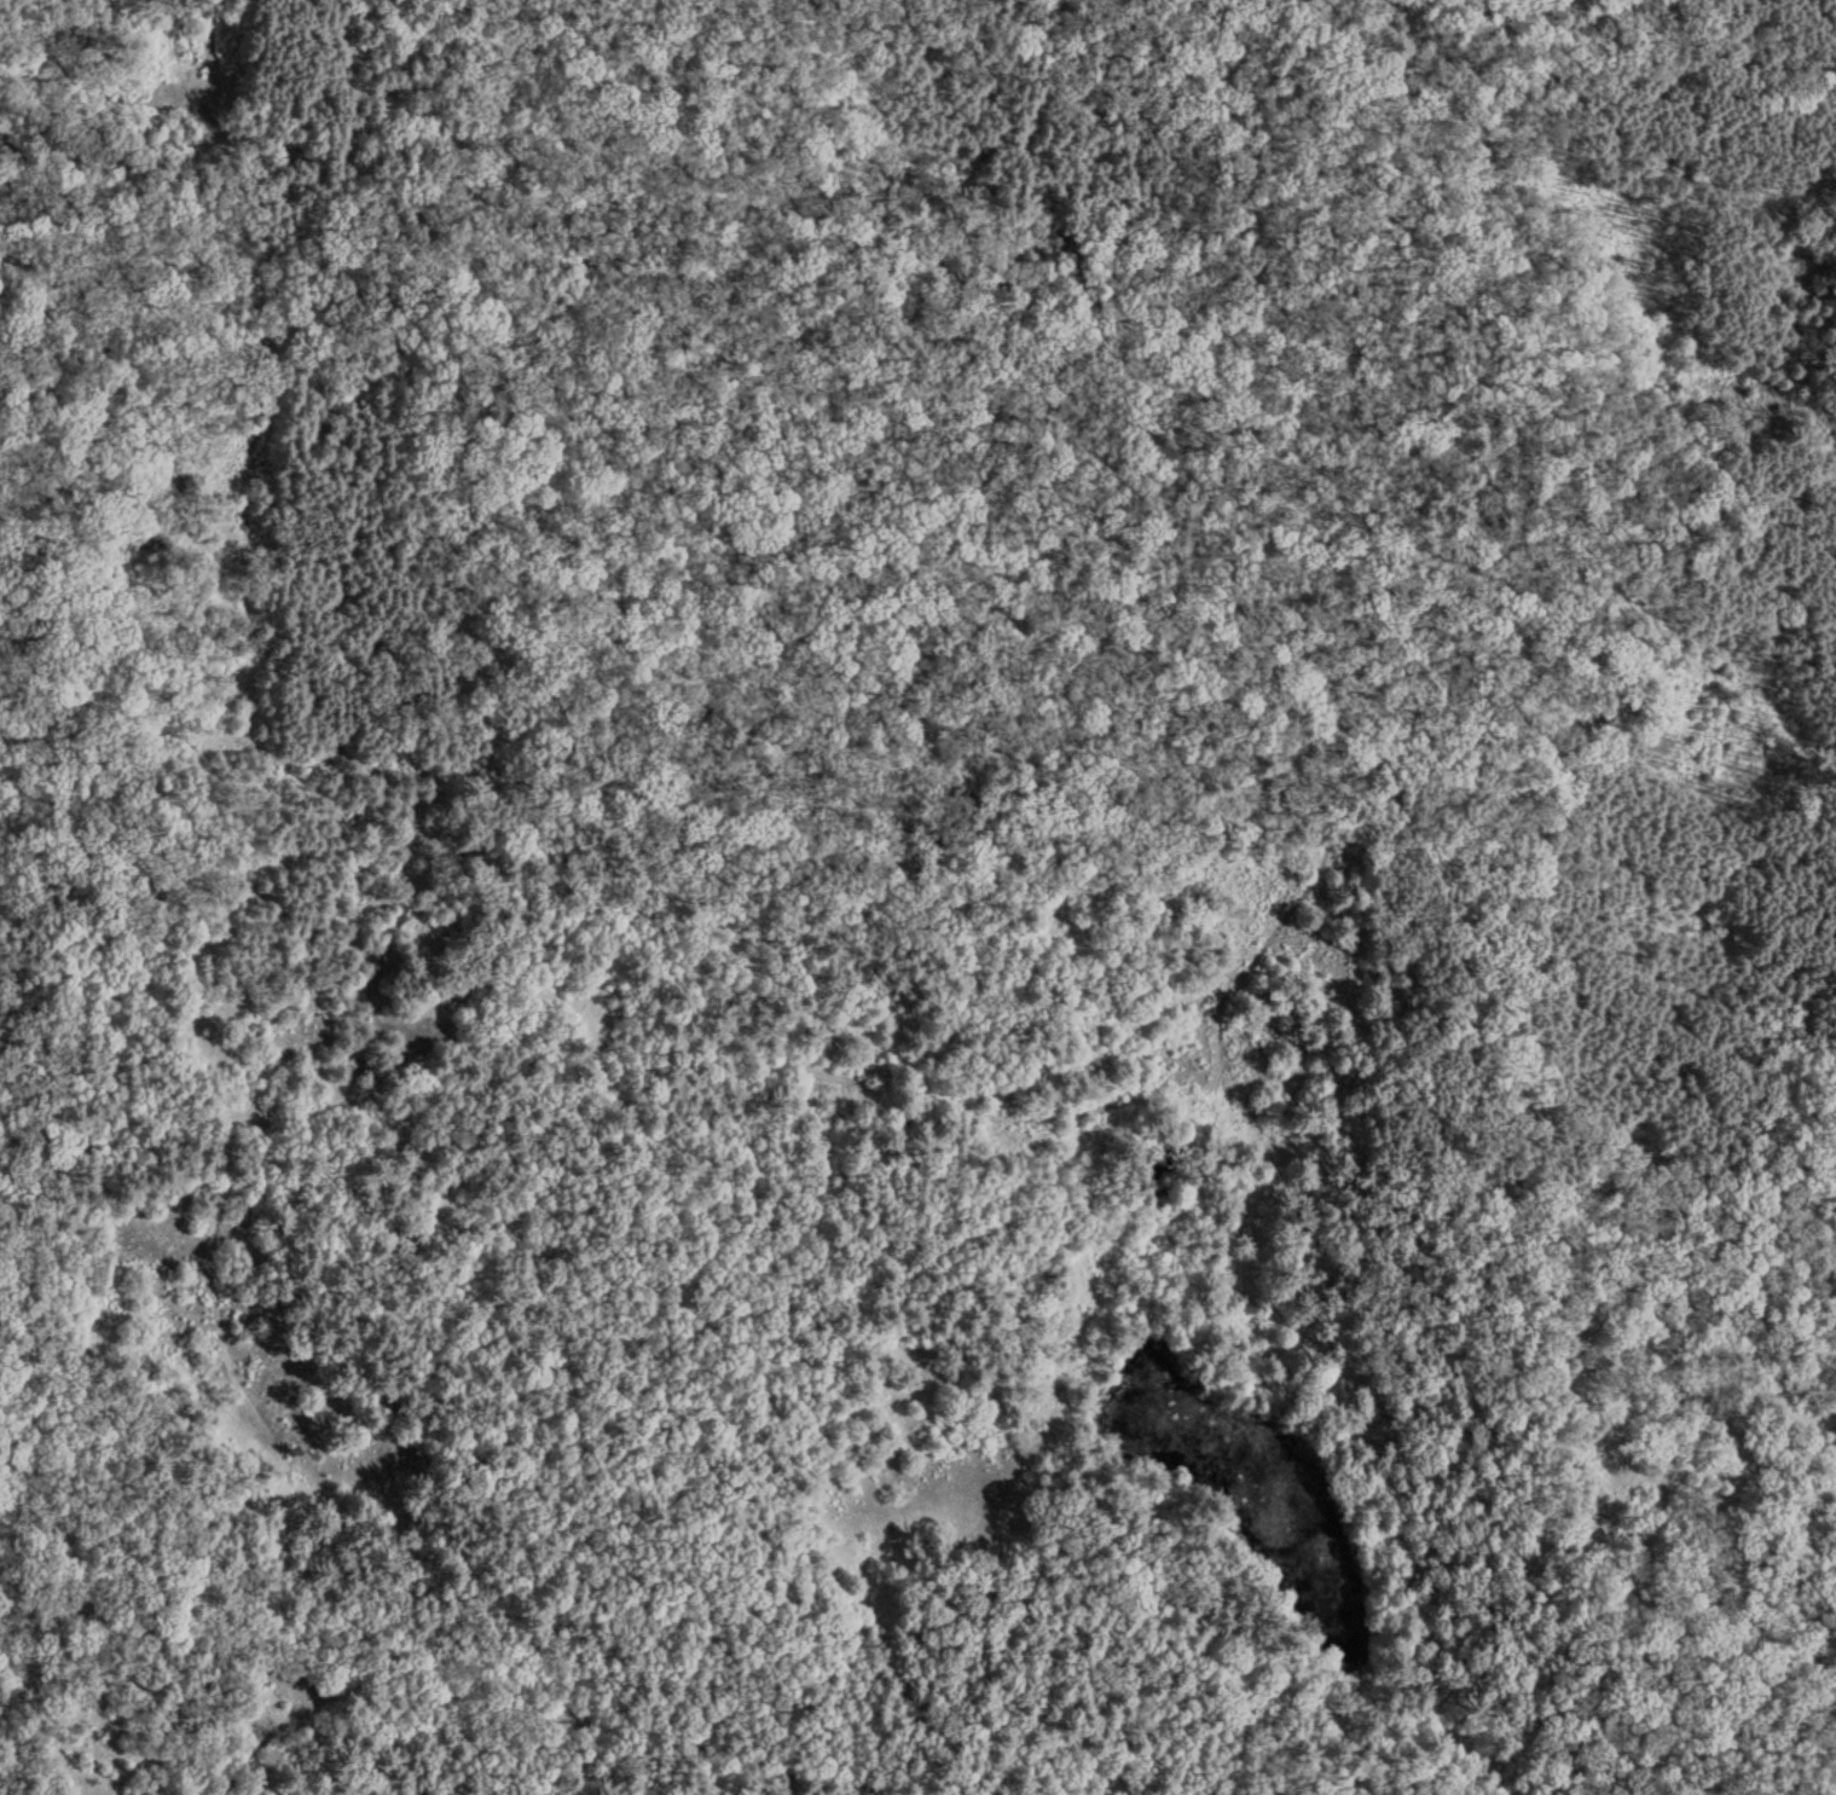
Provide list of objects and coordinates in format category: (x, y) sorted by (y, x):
road: (480, 1679)
road: (1766, 1712)

